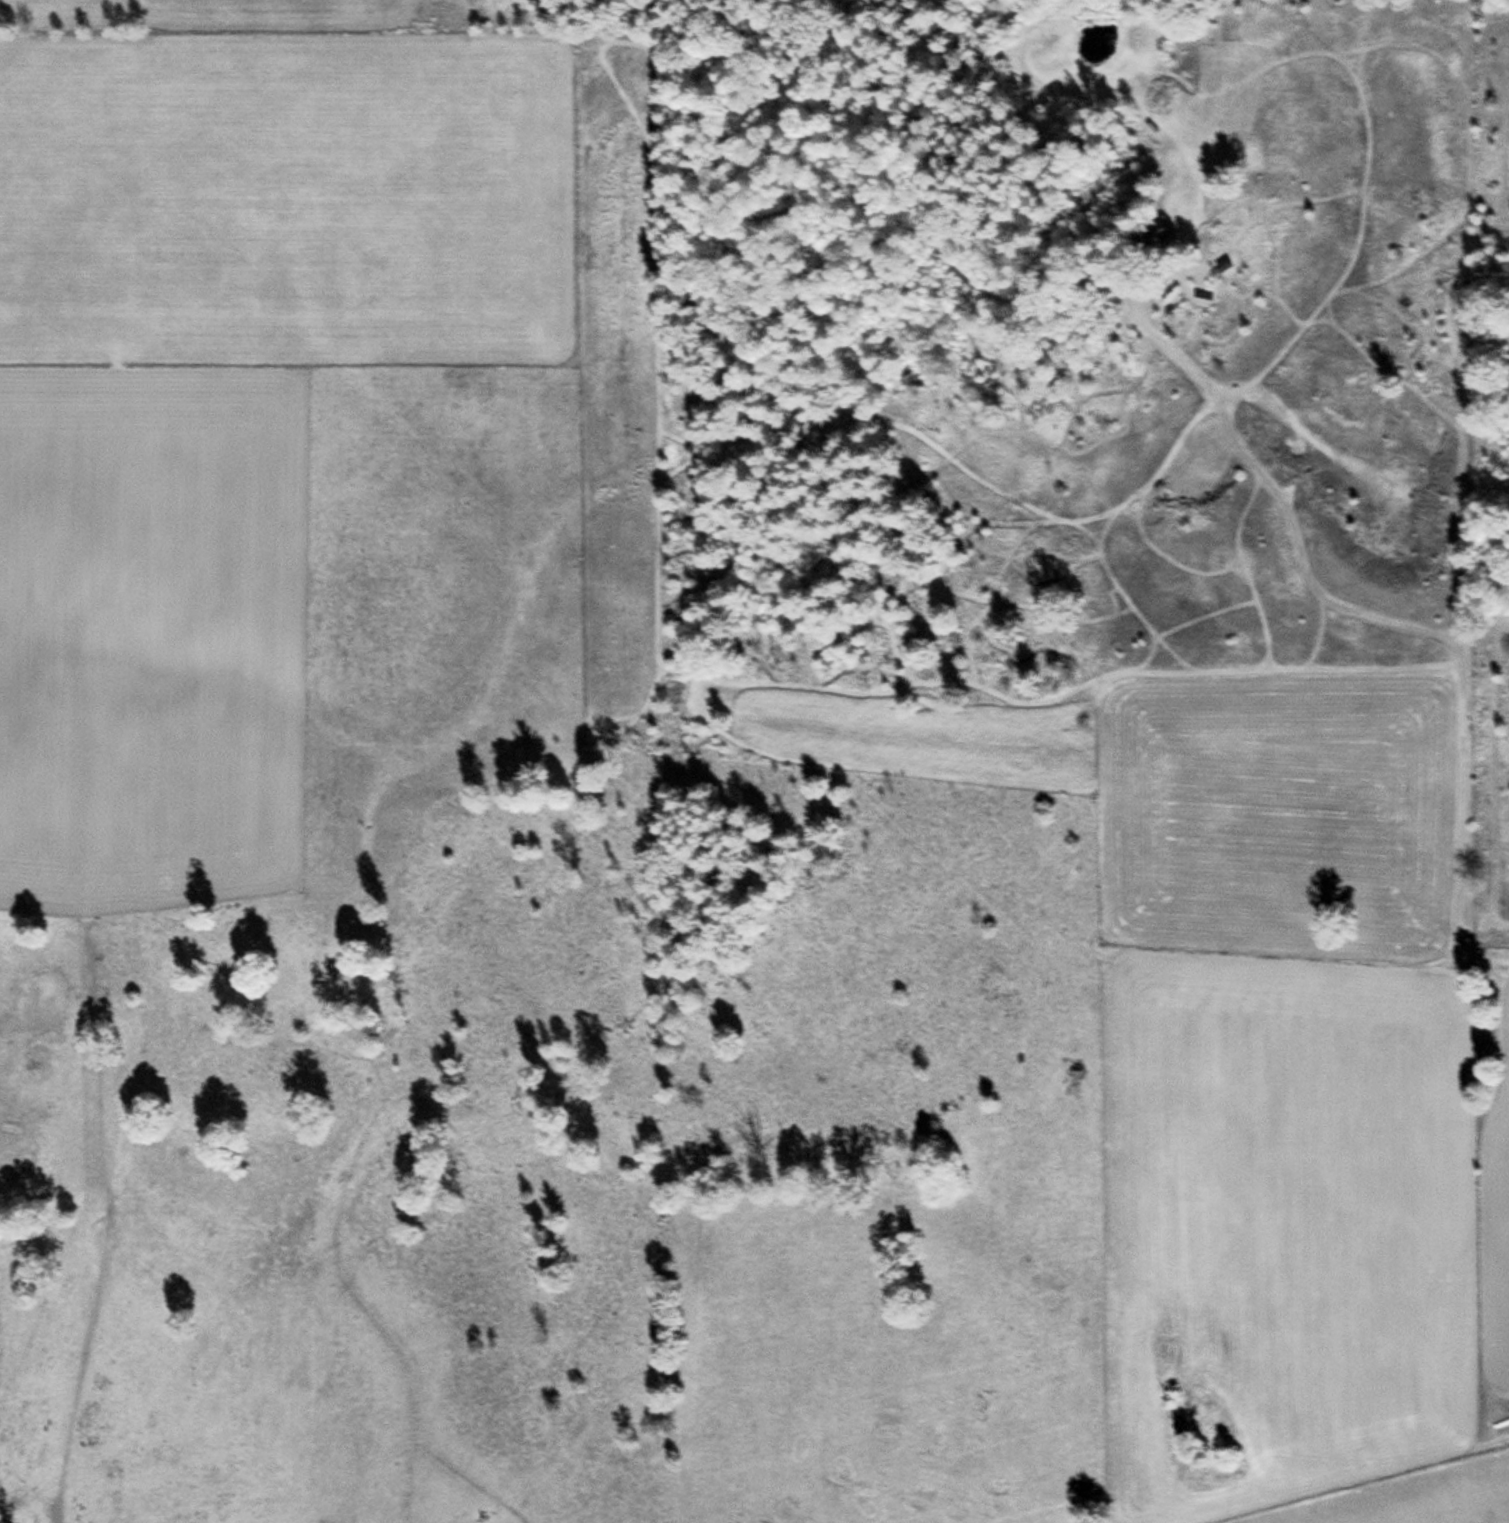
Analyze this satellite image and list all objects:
building: (1155, 233)
airport runway: (1440, 1505)

